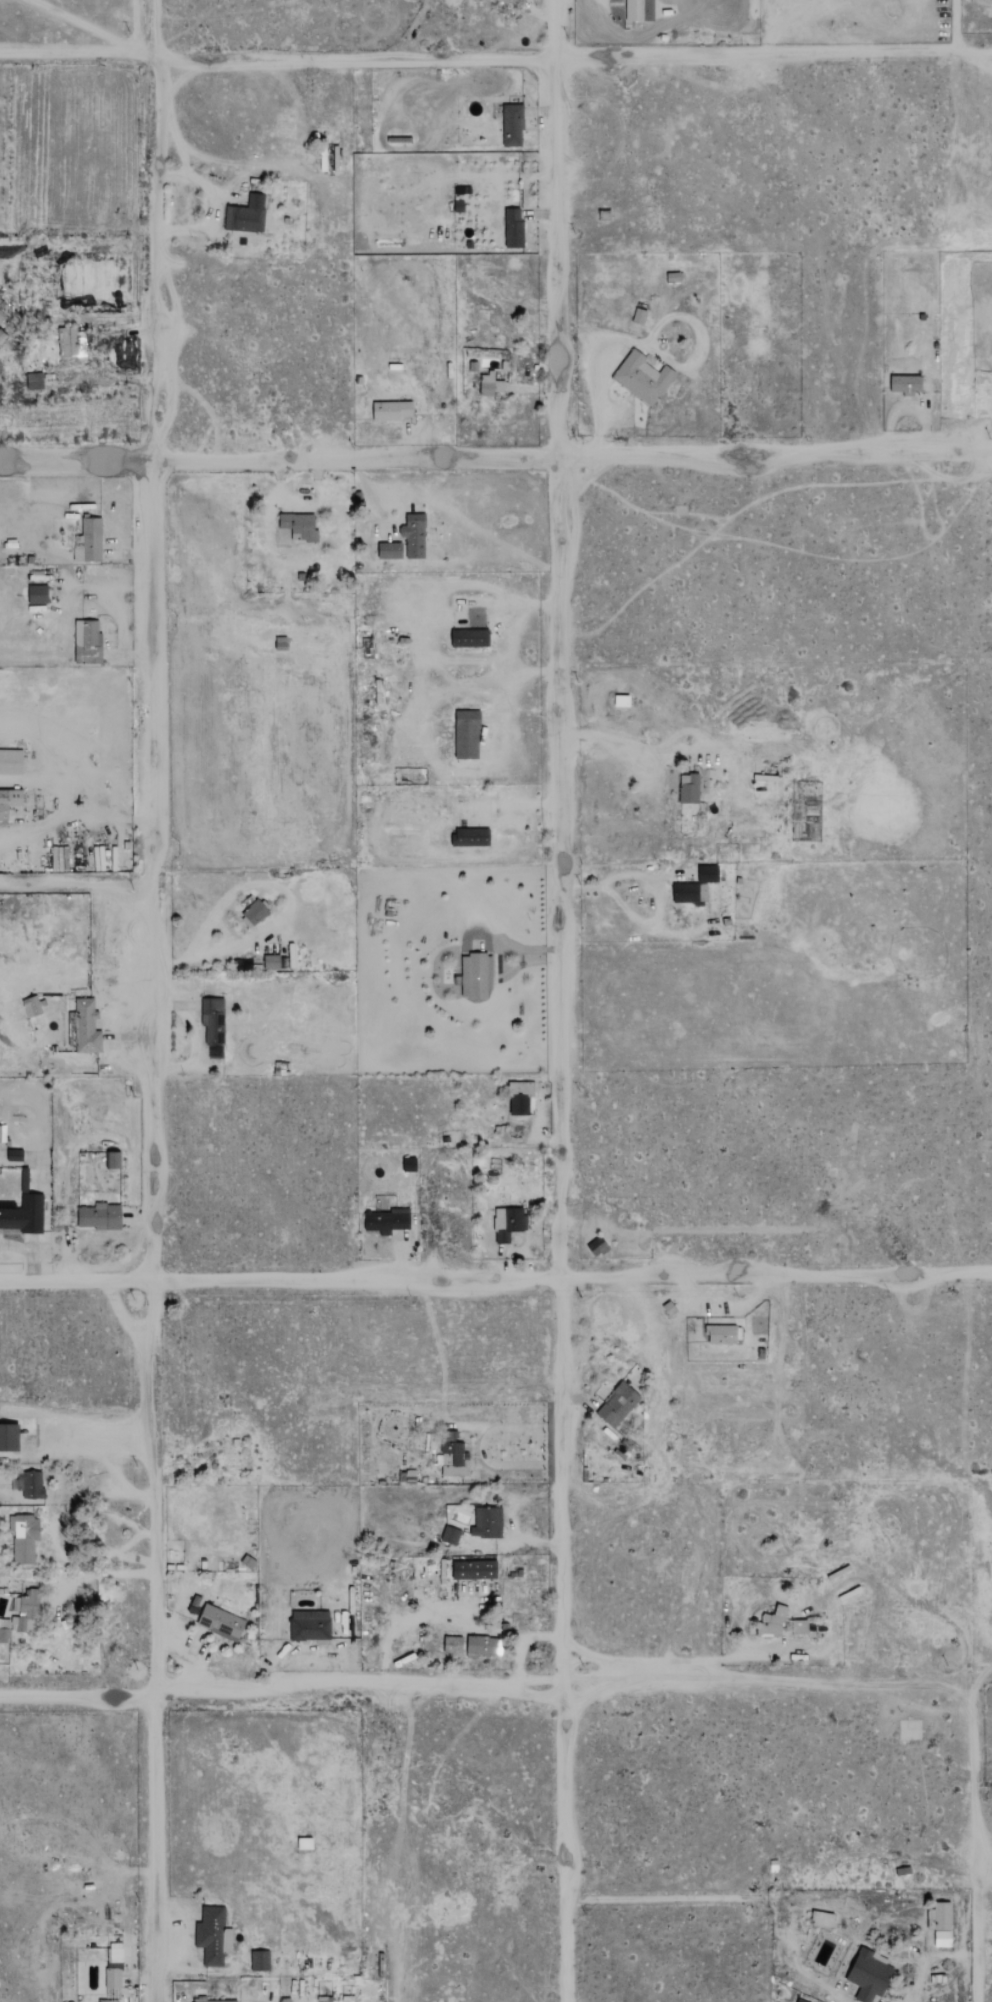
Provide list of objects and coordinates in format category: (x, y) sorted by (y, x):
building: (511, 2)
building: (639, 10)
road: (955, 24)
road: (495, 57)
building: (512, 125)
building: (246, 215)
building: (513, 229)
building: (3, 310)
building: (639, 316)
building: (2, 335)
building: (72, 343)
building: (642, 378)
building: (35, 382)
building: (489, 384)
building: (906, 385)
building: (393, 411)
road: (495, 455)
building: (300, 526)
building: (414, 536)
building: (90, 542)
building: (390, 551)
building: (38, 594)
building: (470, 639)
building: (88, 641)
road: (512, 644)
building: (623, 701)
building: (467, 735)
building: (11, 762)
building: (689, 789)
building: (9, 802)
building: (471, 837)
building: (60, 858)
building: (696, 886)
road: (281, 904)
building: (255, 912)
road: (650, 922)
building: (272, 961)
building: (476, 975)
road: (159, 1000)
road: (560, 1000)
building: (32, 1006)
building: (213, 1021)
building: (87, 1026)
building: (521, 1098)
building: (112, 1159)
building: (409, 1164)
building: (25, 1180)
building: (24, 1215)
building: (100, 1216)
building: (387, 1221)
building: (509, 1223)
building: (598, 1246)
road: (495, 1283)
building: (723, 1335)
building: (618, 1404)
building: (10, 1438)
road: (482, 1447)
building: (452, 1455)
building: (29, 1484)
road: (104, 1495)
building: (487, 1523)
building: (451, 1535)
building: (25, 1538)
road: (524, 1539)
building: (475, 1569)
road: (99, 1577)
building: (25, 1611)
building: (221, 1623)
building: (773, 1623)
building: (310, 1625)
building: (800, 1627)
building: (5, 1630)
building: (453, 1644)
building: (482, 1646)
road: (183, 1655)
road: (577, 1659)
road: (608, 1659)
road: (715, 1660)
road: (654, 1674)
road: (765, 1681)
road: (280, 1693)
building: (305, 1843)
road: (978, 1843)
road: (985, 1878)
road: (663, 1899)
building: (823, 1919)
building: (943, 1924)
building: (214, 1936)
road: (928, 1958)
building: (260, 1961)
building: (115, 1968)
building: (871, 1975)
building: (110, 2001)
building: (213, 2001)

